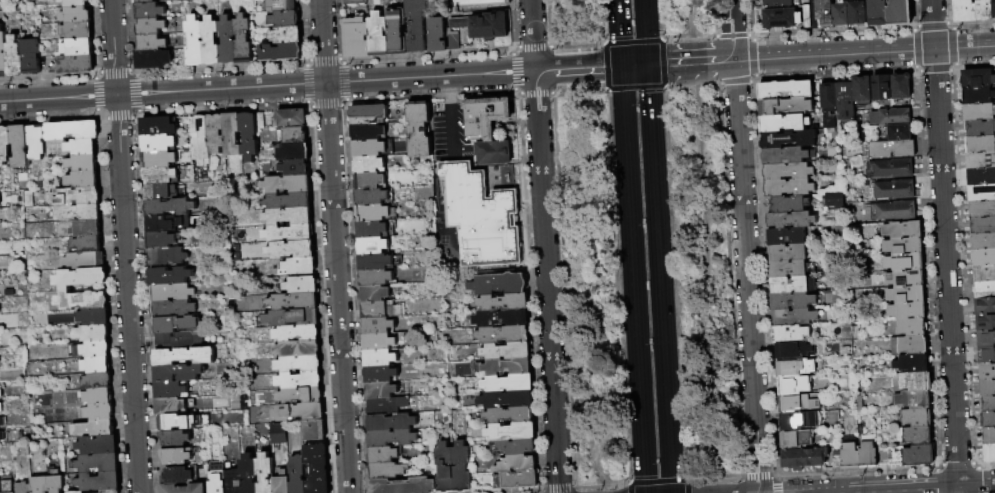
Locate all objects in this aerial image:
building: (153, 1)
building: (355, 2)
building: (75, 3)
building: (776, 3)
building: (483, 4)
building: (282, 6)
building: (993, 8)
building: (983, 10)
building: (150, 11)
building: (963, 11)
building: (824, 13)
building: (840, 13)
building: (856, 13)
building: (877, 13)
building: (899, 13)
building: (76, 16)
building: (806, 16)
building: (780, 18)
building: (284, 19)
building: (416, 26)
building: (485, 26)
building: (151, 27)
road: (813, 28)
building: (77, 31)
road: (645, 32)
building: (398, 33)
road: (619, 33)
building: (286, 35)
building: (379, 35)
building: (437, 36)
building: (357, 38)
building: (244, 40)
building: (211, 41)
building: (227, 41)
building: (195, 42)
building: (454, 42)
building: (152, 43)
road: (964, 46)
building: (75, 48)
road: (922, 49)
building: (281, 52)
building: (3, 54)
road: (822, 55)
building: (31, 57)
building: (14, 58)
building: (154, 60)
road: (724, 60)
road: (692, 63)
road: (658, 64)
building: (78, 65)
traffic signals: (647, 65)
road: (634, 66)
traffic signals: (621, 67)
road: (588, 68)
road: (545, 71)
building: (977, 79)
building: (900, 86)
road: (267, 87)
building: (880, 88)
building: (785, 90)
building: (861, 90)
road: (449, 91)
building: (977, 96)
building: (828, 97)
building: (844, 101)
building: (784, 106)
road: (623, 110)
building: (978, 112)
building: (368, 114)
building: (890, 117)
building: (291, 119)
building: (260, 121)
building: (782, 123)
building: (828, 124)
building: (159, 126)
building: (487, 128)
building: (979, 128)
building: (418, 130)
building: (72, 131)
road: (452, 131)
building: (367, 132)
building: (897, 132)
building: (217, 133)
building: (232, 135)
building: (294, 136)
building: (249, 137)
building: (787, 139)
building: (201, 141)
building: (36, 143)
building: (159, 143)
building: (980, 144)
building: (5, 146)
building: (20, 146)
building: (81, 148)
building: (368, 149)
building: (891, 149)
building: (294, 152)
building: (785, 155)
building: (159, 159)
building: (980, 160)
building: (83, 164)
building: (368, 165)
building: (295, 168)
building: (892, 168)
building: (787, 171)
building: (161, 176)
building: (981, 177)
building: (83, 180)
building: (369, 181)
building: (288, 184)
building: (787, 187)
building: (894, 189)
building: (160, 192)
building: (981, 193)
building: (76, 197)
building: (371, 197)
building: (833, 200)
building: (289, 201)
building: (788, 204)
building: (169, 207)
building: (981, 209)
building: (895, 211)
building: (78, 213)
building: (374, 213)
building: (289, 217)
building: (481, 217)
building: (790, 220)
building: (164, 224)
building: (982, 225)
building: (88, 229)
building: (374, 230)
building: (901, 230)
building: (289, 234)
building: (785, 236)
road: (704, 239)
building: (160, 240)
building: (982, 242)
building: (88, 245)
road: (124, 246)
road: (334, 246)
building: (372, 246)
road: (544, 246)
park: (644, 246)
road: (744, 246)
building: (903, 246)
road: (945, 246)
building: (292, 250)
building: (786, 253)
building: (167, 257)
building: (983, 258)
building: (85, 261)
building: (376, 262)
building: (903, 263)
building: (297, 267)
building: (786, 268)
building: (984, 274)
building: (169, 276)
building: (81, 278)
building: (375, 278)
road: (659, 278)
building: (904, 278)
building: (498, 284)
building: (790, 284)
building: (302, 285)
building: (984, 290)
building: (172, 293)
building: (374, 294)
building: (905, 294)
building: (83, 301)
building: (790, 301)
building: (293, 302)
building: (502, 302)
building: (984, 306)
building: (173, 309)
building: (377, 310)
building: (906, 310)
building: (95, 317)
building: (792, 317)
building: (293, 318)
building: (500, 318)
building: (7, 321)
road: (635, 323)
building: (985, 323)
building: (176, 324)
building: (377, 326)
building: (908, 327)
building: (790, 333)
building: (93, 334)
building: (297, 334)
building: (501, 334)
building: (986, 339)
building: (179, 340)
building: (378, 342)
building: (907, 345)
building: (96, 350)
building: (298, 350)
building: (792, 350)
building: (505, 351)
building: (986, 355)
building: (184, 357)
building: (379, 358)
building: (911, 363)
building: (299, 365)
building: (97, 366)
building: (503, 367)
building: (793, 368)
building: (987, 371)
building: (178, 373)
building: (380, 374)
building: (300, 381)
building: (910, 381)
building: (97, 382)
building: (507, 383)
building: (792, 385)
building: (987, 388)
building: (170, 390)
building: (380, 391)
building: (1, 394)
building: (301, 396)
building: (99, 397)
building: (505, 399)
building: (912, 399)
building: (798, 403)
building: (987, 404)
building: (385, 406)
building: (171, 407)
building: (1, 408)
building: (100, 412)
building: (300, 412)
building: (508, 415)
building: (916, 418)
building: (799, 420)
building: (988, 420)
building: (3, 422)
building: (181, 422)
building: (390, 423)
building: (95, 429)
building: (315, 431)
building: (511, 431)
building: (279, 434)
building: (914, 435)
building: (988, 436)
building: (2, 437)
building: (391, 438)
building: (796, 438)
building: (175, 439)
building: (98, 446)
building: (514, 446)
building: (989, 453)
building: (384, 454)
building: (867, 455)
building: (917, 455)
building: (881, 456)
building: (176, 457)
building: (849, 457)
building: (802, 458)
building: (835, 462)
building: (98, 463)
building: (515, 463)
building: (461, 468)
building: (318, 469)
building: (445, 469)
building: (387, 471)
building: (265, 473)
building: (249, 474)
building: (298, 475)
building: (177, 476)
road: (731, 478)
building: (217, 479)
road: (702, 479)
building: (518, 480)
building: (55, 481)
building: (233, 481)
road: (656, 481)
building: (99, 482)
building: (283, 483)
building: (40, 485)
building: (402, 486)
road: (684, 486)
building: (8, 487)
building: (24, 488)
road: (628, 488)
building: (184, 489)
road: (935, 489)
building: (78, 492)
building: (110, 492)

